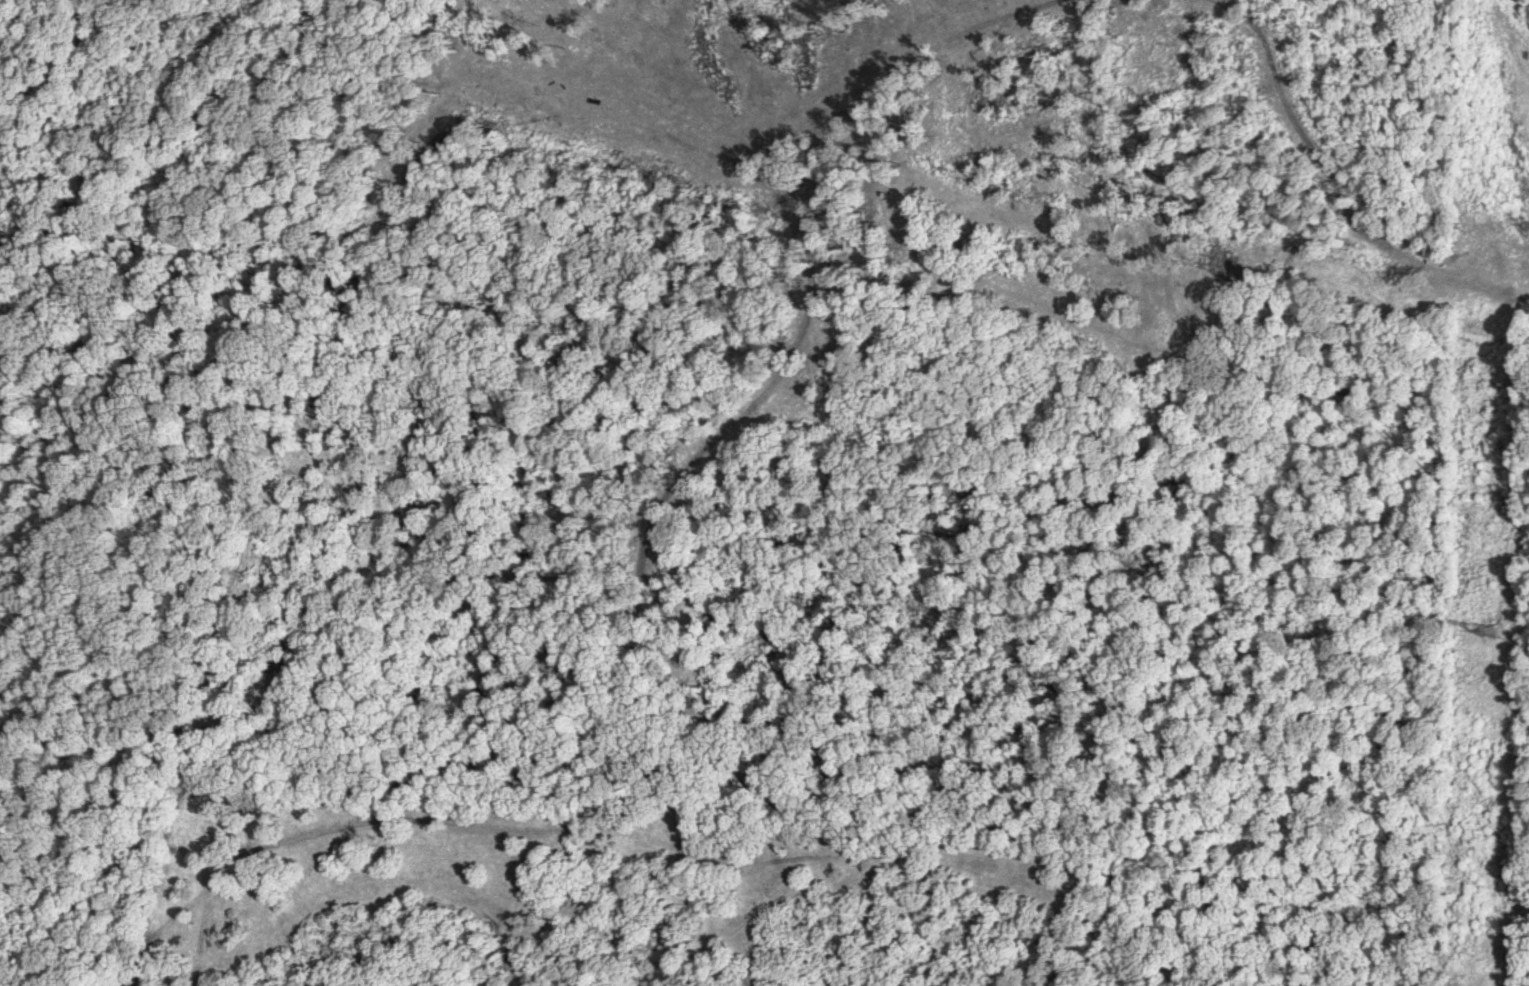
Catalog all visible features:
power tower: (1487, 630)

